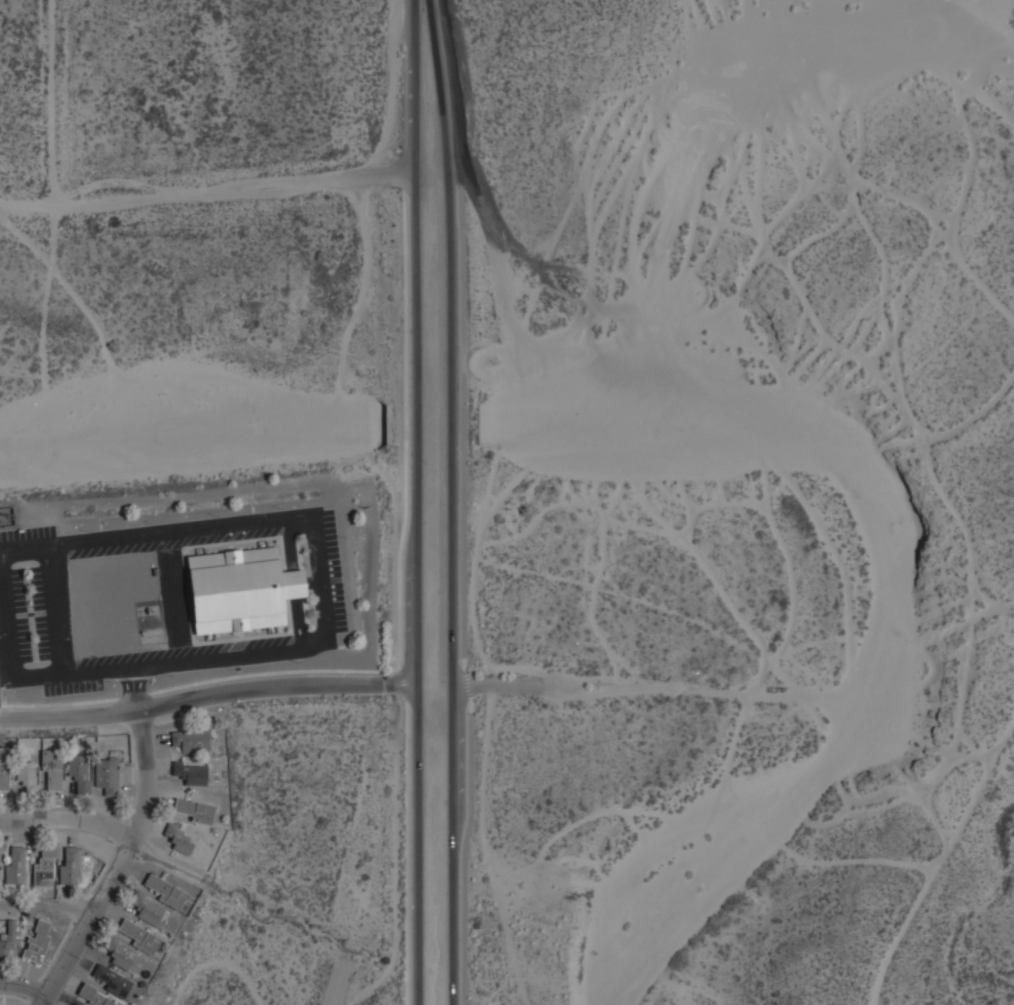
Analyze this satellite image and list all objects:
river: (429, 426)
river: (189, 439)
road: (452, 501)
road: (416, 502)
road: (399, 554)
building: (240, 590)
river: (893, 596)
road: (402, 684)
road: (466, 684)
road: (277, 685)
road: (498, 686)
road: (135, 688)
road: (133, 697)
road: (58, 704)
road: (70, 709)
building: (190, 740)
building: (51, 769)
building: (79, 772)
building: (190, 773)
building: (107, 774)
building: (27, 775)
building: (4, 778)
building: (194, 810)
road: (68, 820)
building: (178, 839)
road: (406, 852)
road: (121, 863)
building: (15, 865)
building: (68, 865)
building: (43, 868)
building: (163, 890)
building: (187, 890)
road: (50, 907)
building: (154, 913)
building: (137, 936)
building: (37, 941)
building: (5, 950)
building: (129, 959)
building: (111, 980)
road: (334, 984)
road: (22, 995)
building: (95, 996)

